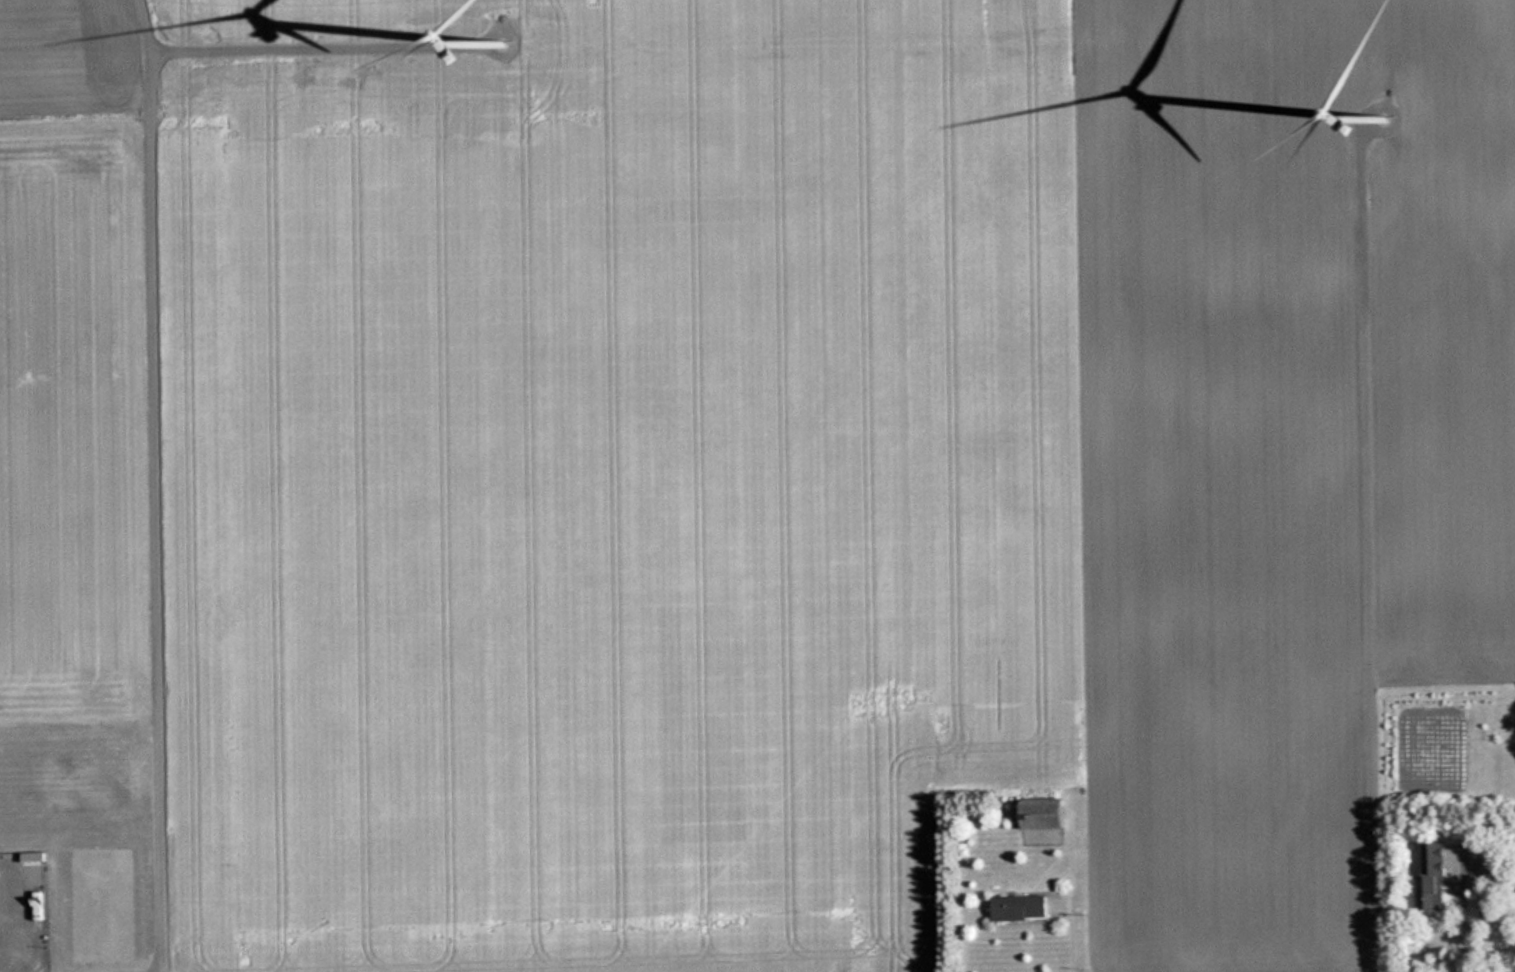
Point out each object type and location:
wind turbine: (502, 52)
wind turbine: (1395, 124)
road: (158, 485)
building: (1046, 813)
building: (1436, 877)
building: (1022, 908)

